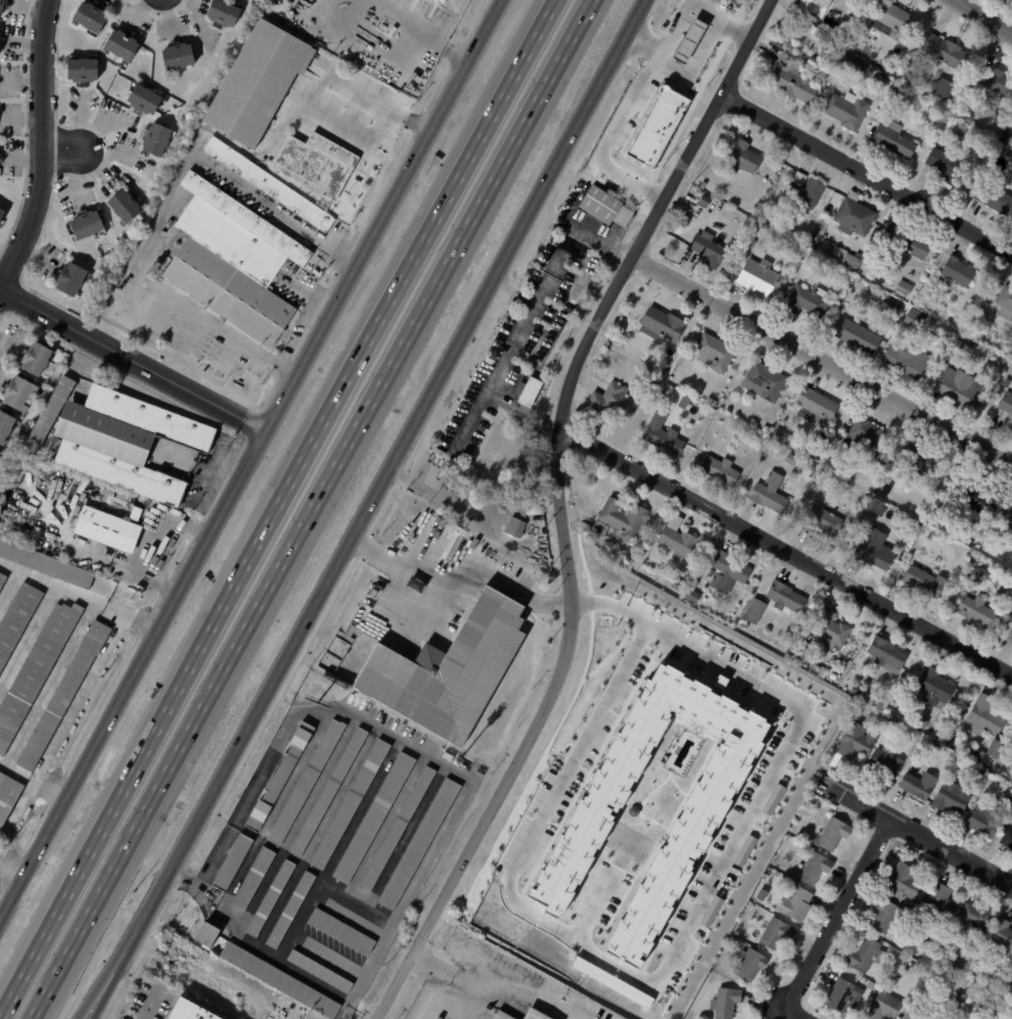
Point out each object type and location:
building: (445, 2)
building: (2, 8)
building: (225, 14)
road: (406, 16)
building: (92, 17)
road: (983, 17)
building: (813, 18)
building: (891, 21)
building: (785, 34)
road: (701, 36)
road: (372, 37)
building: (0, 41)
building: (852, 45)
building: (124, 46)
road: (448, 48)
building: (941, 50)
building: (180, 56)
building: (844, 58)
building: (856, 66)
building: (85, 69)
building: (790, 77)
building: (992, 79)
building: (881, 80)
building: (259, 83)
building: (942, 88)
building: (898, 92)
building: (146, 101)
building: (846, 109)
building: (966, 117)
road: (330, 120)
road: (619, 120)
building: (657, 126)
building: (1008, 126)
building: (958, 130)
building: (893, 138)
building: (158, 140)
building: (981, 141)
road: (42, 147)
road: (62, 151)
building: (742, 158)
building: (1011, 160)
building: (945, 165)
building: (318, 167)
road: (865, 168)
building: (269, 184)
building: (702, 185)
building: (803, 190)
building: (993, 197)
building: (701, 202)
building: (601, 205)
building: (127, 206)
road: (161, 210)
building: (2, 215)
building: (852, 215)
building: (89, 225)
building: (754, 229)
building: (910, 244)
road: (618, 249)
building: (707, 250)
building: (785, 258)
building: (235, 262)
building: (956, 270)
building: (758, 277)
building: (73, 279)
building: (938, 282)
road: (331, 288)
building: (903, 288)
building: (574, 294)
road: (511, 296)
building: (806, 300)
building: (1005, 302)
building: (891, 307)
road: (528, 315)
building: (914, 318)
building: (560, 323)
building: (659, 325)
building: (887, 326)
building: (855, 336)
road: (300, 342)
building: (963, 343)
building: (537, 347)
building: (712, 353)
road: (821, 356)
building: (38, 359)
road: (133, 360)
building: (534, 360)
building: (904, 360)
building: (663, 373)
building: (763, 381)
building: (1005, 382)
building: (960, 388)
building: (21, 393)
building: (611, 402)
building: (683, 402)
building: (713, 402)
building: (1006, 402)
building: (816, 406)
building: (54, 411)
building: (518, 411)
building: (6, 425)
building: (1011, 427)
building: (765, 429)
building: (663, 435)
building: (781, 435)
building: (865, 438)
building: (128, 442)
building: (774, 449)
building: (810, 450)
building: (0, 453)
building: (790, 459)
road: (250, 460)
building: (920, 461)
building: (832, 465)
building: (719, 470)
building: (822, 473)
building: (882, 490)
building: (769, 493)
building: (971, 497)
road: (276, 507)
building: (534, 507)
road: (566, 507)
building: (873, 507)
road: (309, 509)
road: (367, 509)
building: (1006, 516)
building: (622, 518)
building: (823, 523)
building: (514, 526)
building: (111, 528)
building: (540, 529)
building: (969, 535)
building: (676, 543)
road: (154, 545)
building: (874, 549)
road: (786, 553)
road: (399, 561)
building: (47, 563)
building: (726, 572)
building: (981, 574)
road: (502, 579)
building: (3, 581)
building: (922, 581)
building: (672, 586)
building: (1011, 590)
road: (79, 594)
building: (690, 596)
building: (783, 598)
road: (434, 608)
building: (753, 611)
building: (975, 611)
building: (18, 621)
building: (743, 625)
building: (829, 630)
building: (1009, 634)
building: (798, 642)
building: (798, 655)
building: (886, 655)
building: (447, 669)
building: (37, 672)
building: (932, 688)
building: (854, 690)
building: (66, 694)
road: (82, 696)
building: (983, 718)
building: (920, 724)
building: (853, 742)
building: (955, 748)
building: (992, 750)
building: (1008, 750)
building: (444, 757)
building: (885, 762)
building: (1006, 764)
building: (978, 773)
road: (33, 776)
building: (279, 776)
building: (305, 783)
building: (917, 785)
building: (329, 792)
building: (9, 796)
building: (951, 798)
building: (773, 799)
building: (1005, 799)
building: (351, 804)
building: (374, 817)
building: (984, 822)
road: (915, 826)
building: (793, 827)
building: (398, 829)
building: (831, 833)
building: (1006, 837)
road: (222, 844)
building: (420, 844)
building: (745, 850)
building: (680, 851)
building: (231, 862)
building: (813, 867)
road: (12, 870)
building: (253, 878)
building: (901, 879)
building: (270, 899)
building: (938, 902)
road: (596, 904)
building: (794, 904)
road: (840, 910)
building: (289, 911)
building: (711, 911)
building: (882, 914)
building: (975, 918)
building: (341, 931)
building: (1001, 932)
building: (777, 933)
building: (206, 934)
building: (730, 937)
road: (676, 946)
building: (863, 954)
building: (747, 963)
building: (909, 968)
building: (320, 971)
building: (998, 973)
building: (873, 976)
road: (458, 977)
building: (279, 980)
building: (723, 982)
road: (101, 983)
building: (950, 985)
building: (871, 986)
building: (838, 992)
building: (962, 995)
building: (724, 1002)
road: (151, 1006)
building: (883, 1006)
building: (190, 1011)
road: (799, 1012)
building: (532, 1014)
building: (909, 1017)

